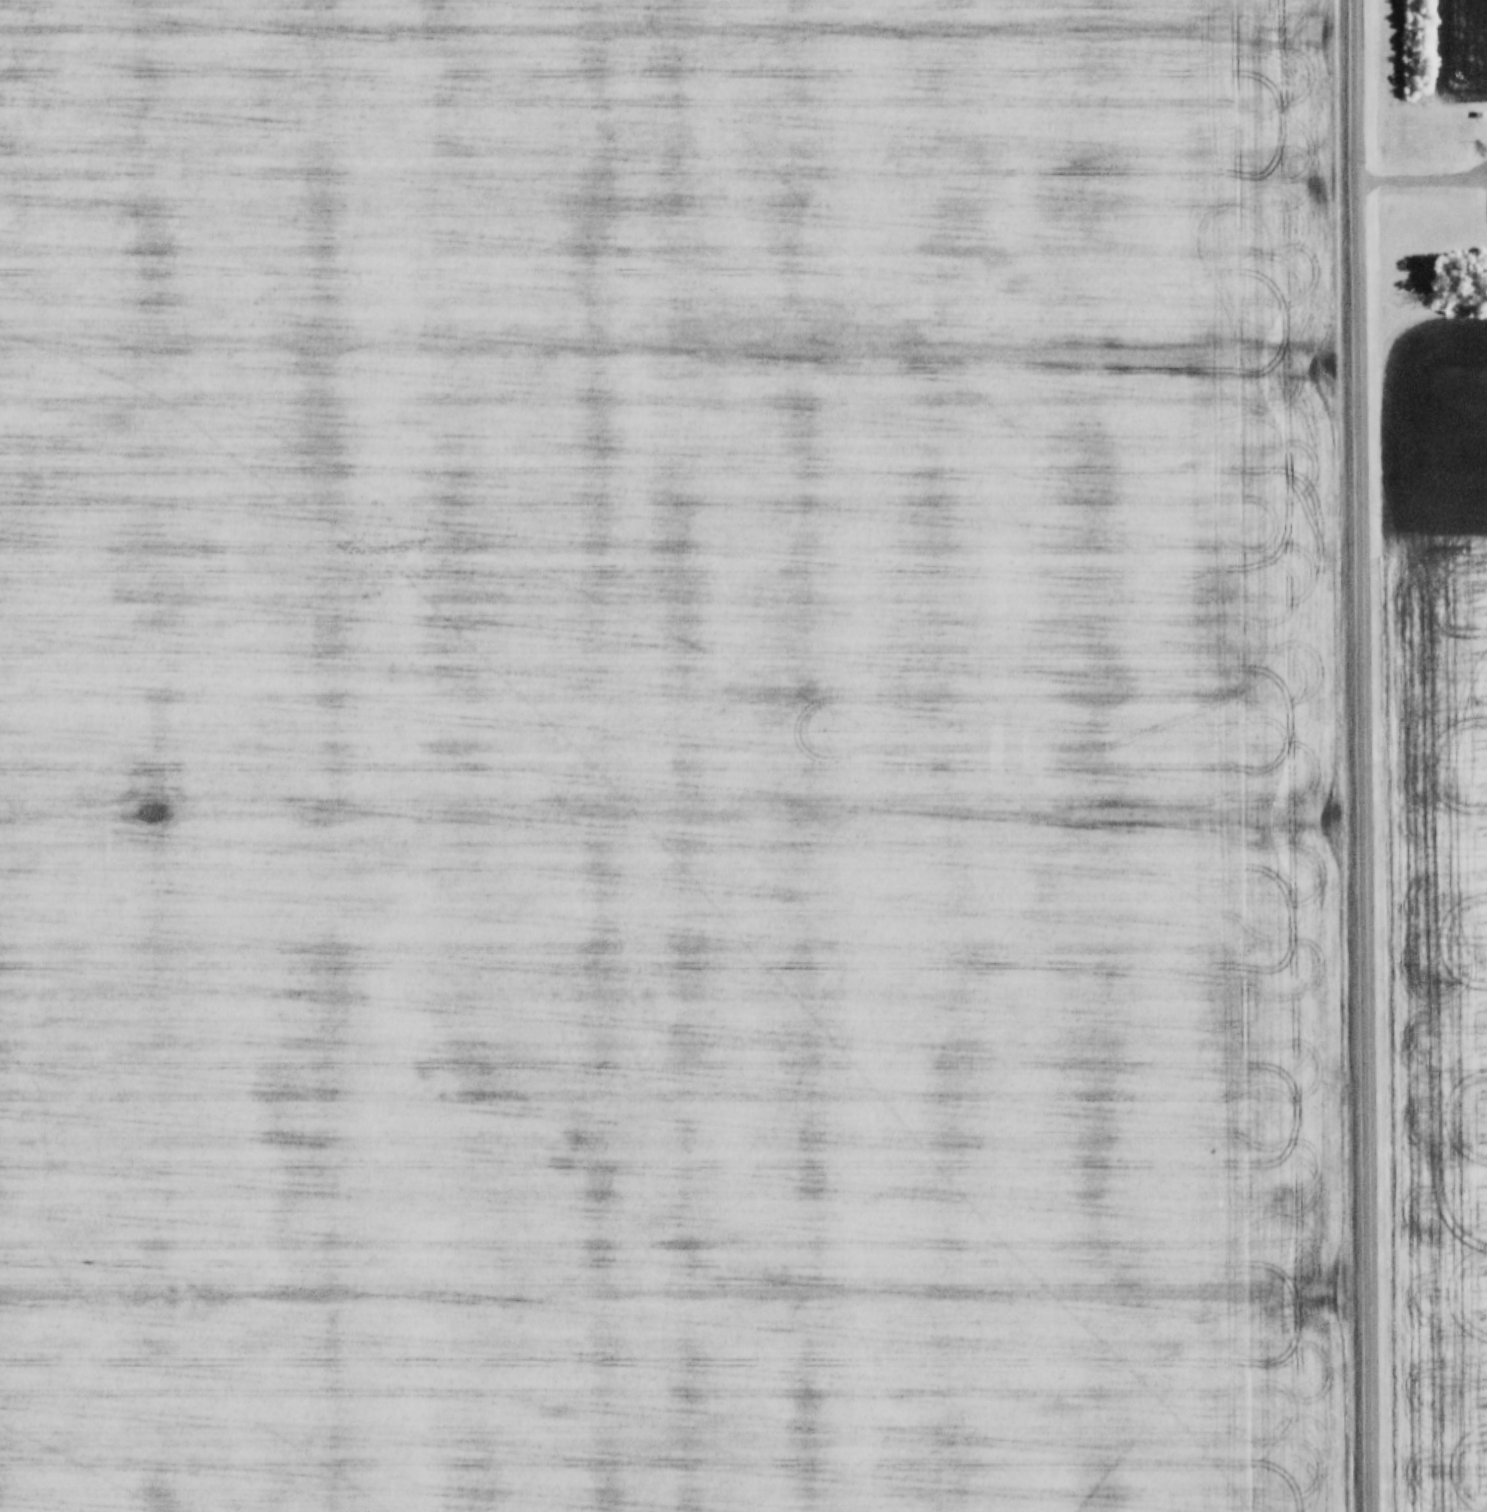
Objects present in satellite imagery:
crop: (1467, 50)
road: (1423, 176)
road: (1368, 755)
crop: (672, 757)
crop: (1439, 907)

